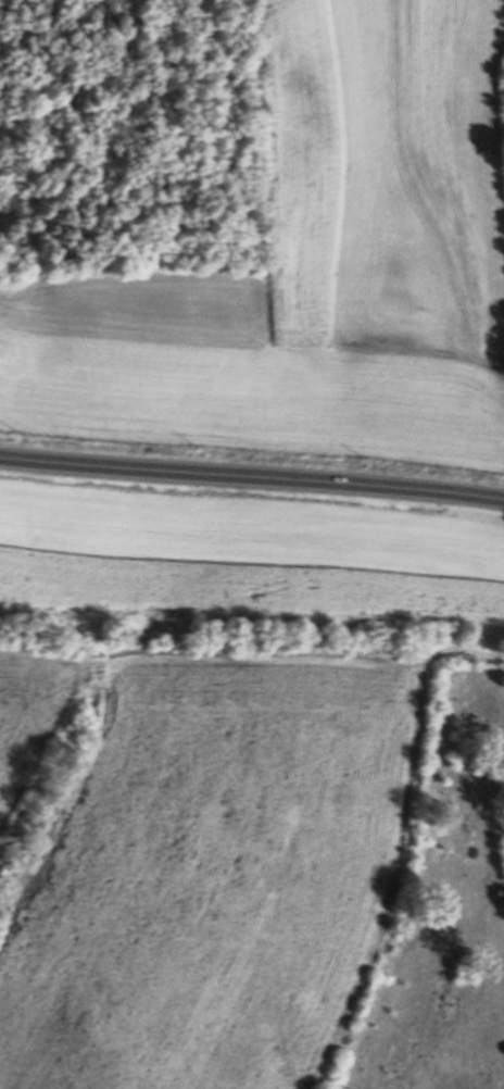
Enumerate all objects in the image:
road: (252, 475)

